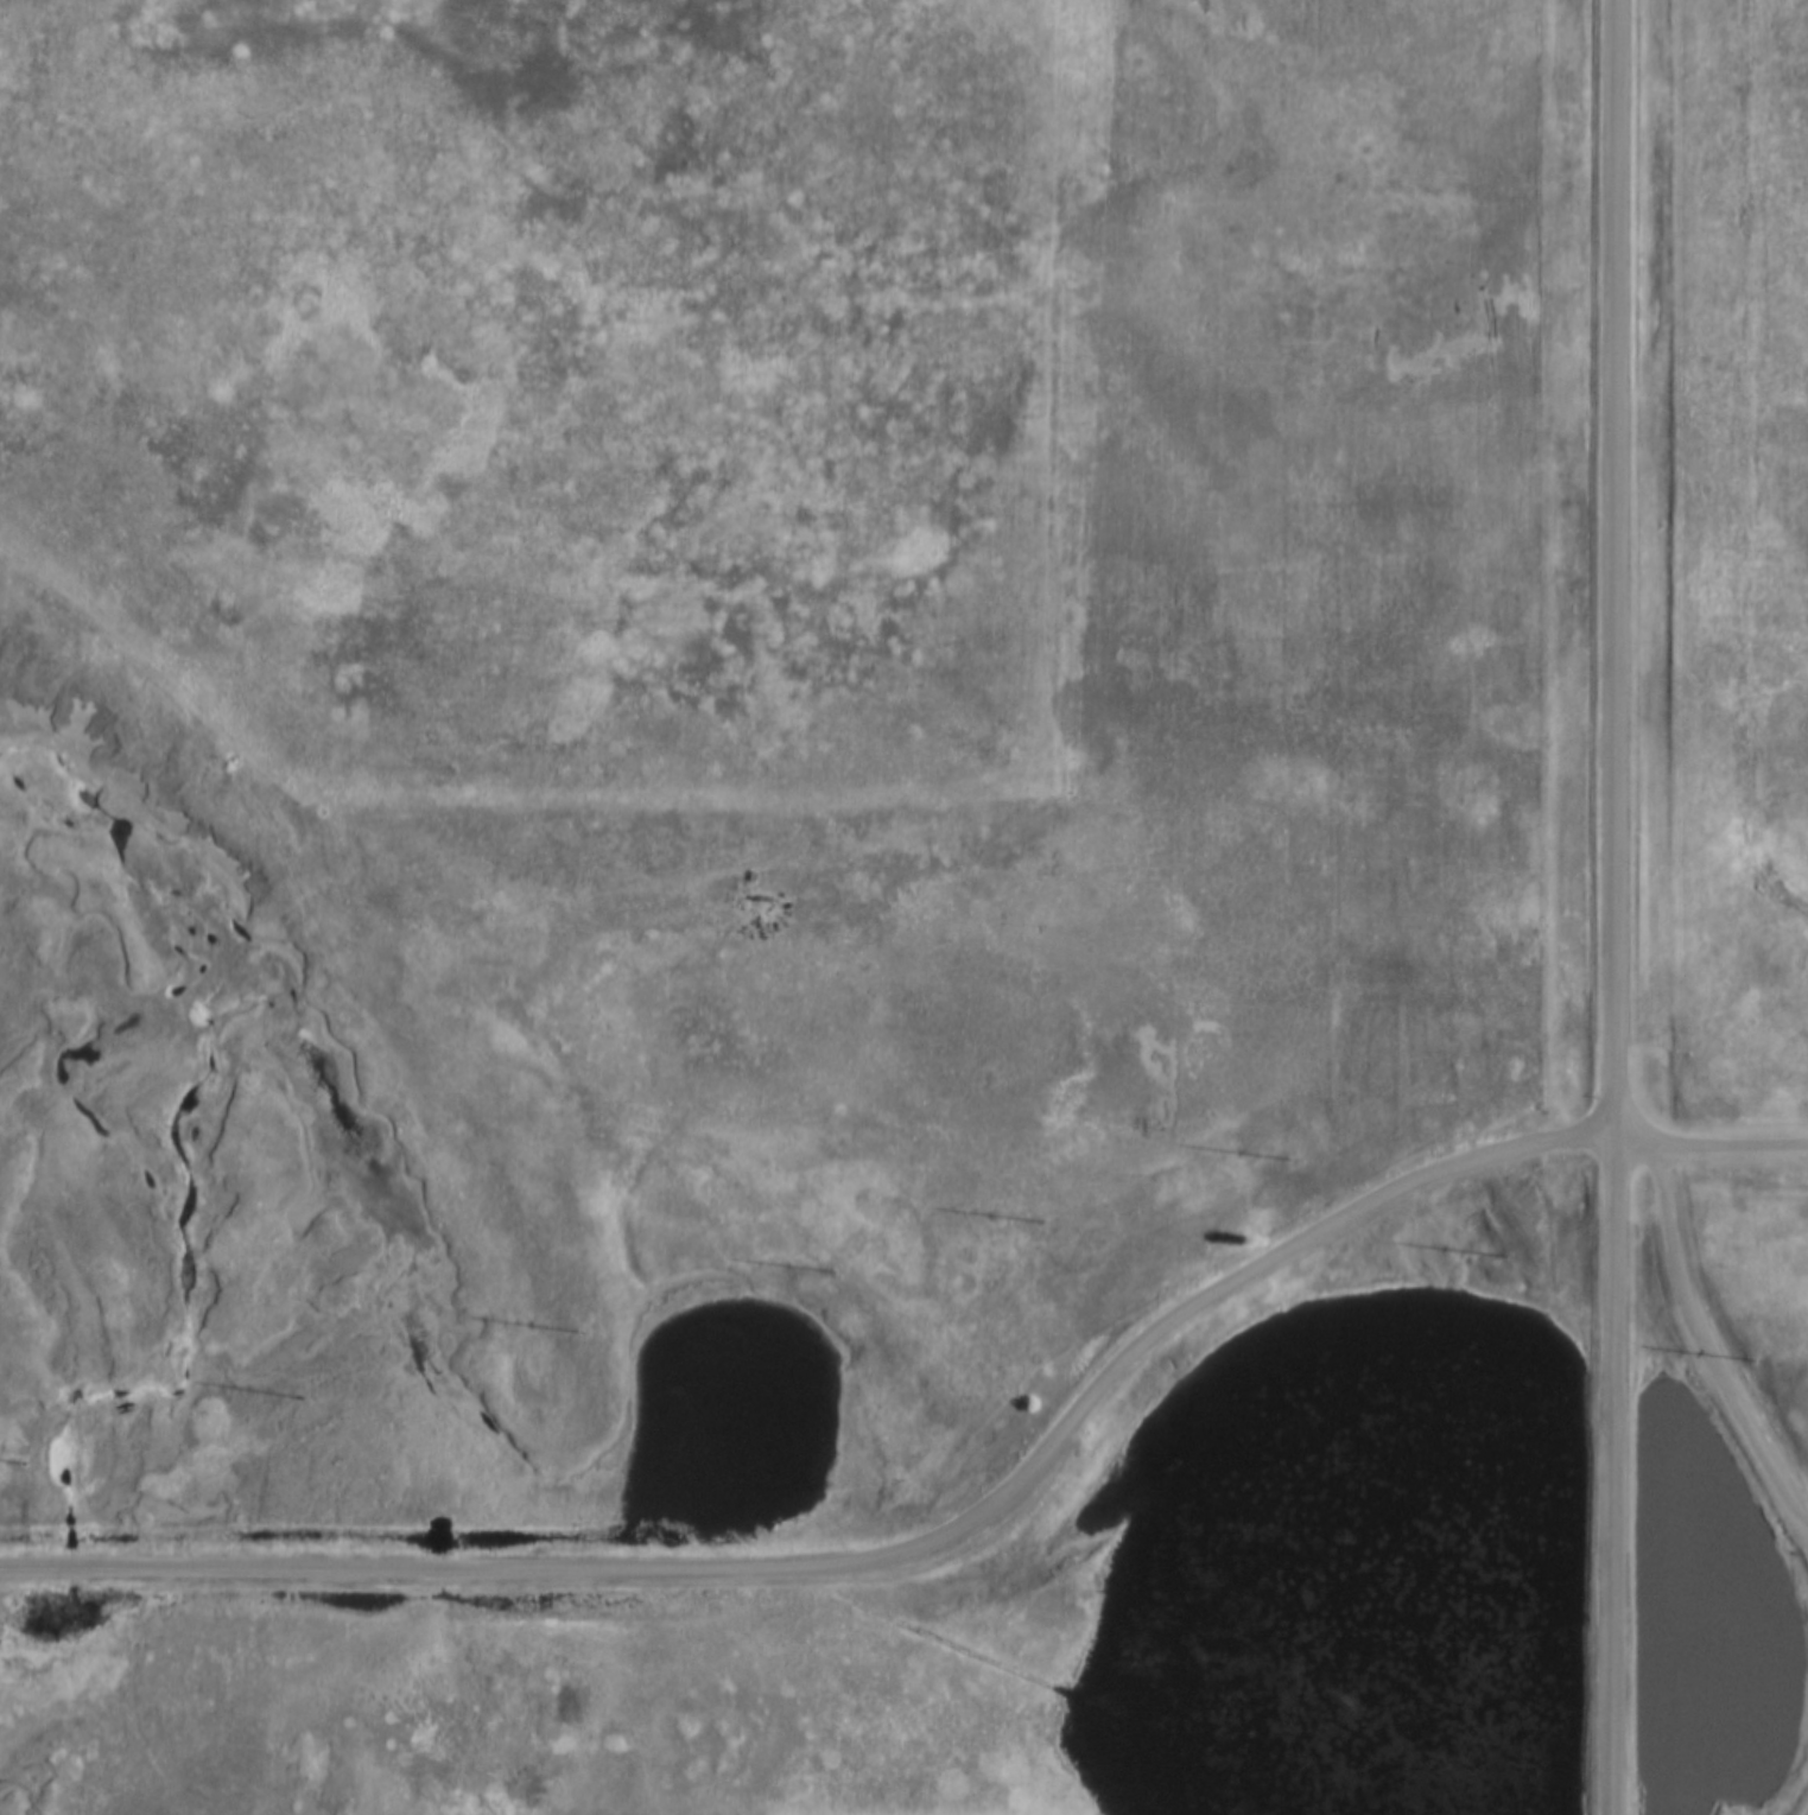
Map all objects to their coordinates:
road: (1614, 907)
road: (1711, 1146)
road: (1705, 1344)
road: (876, 1560)

